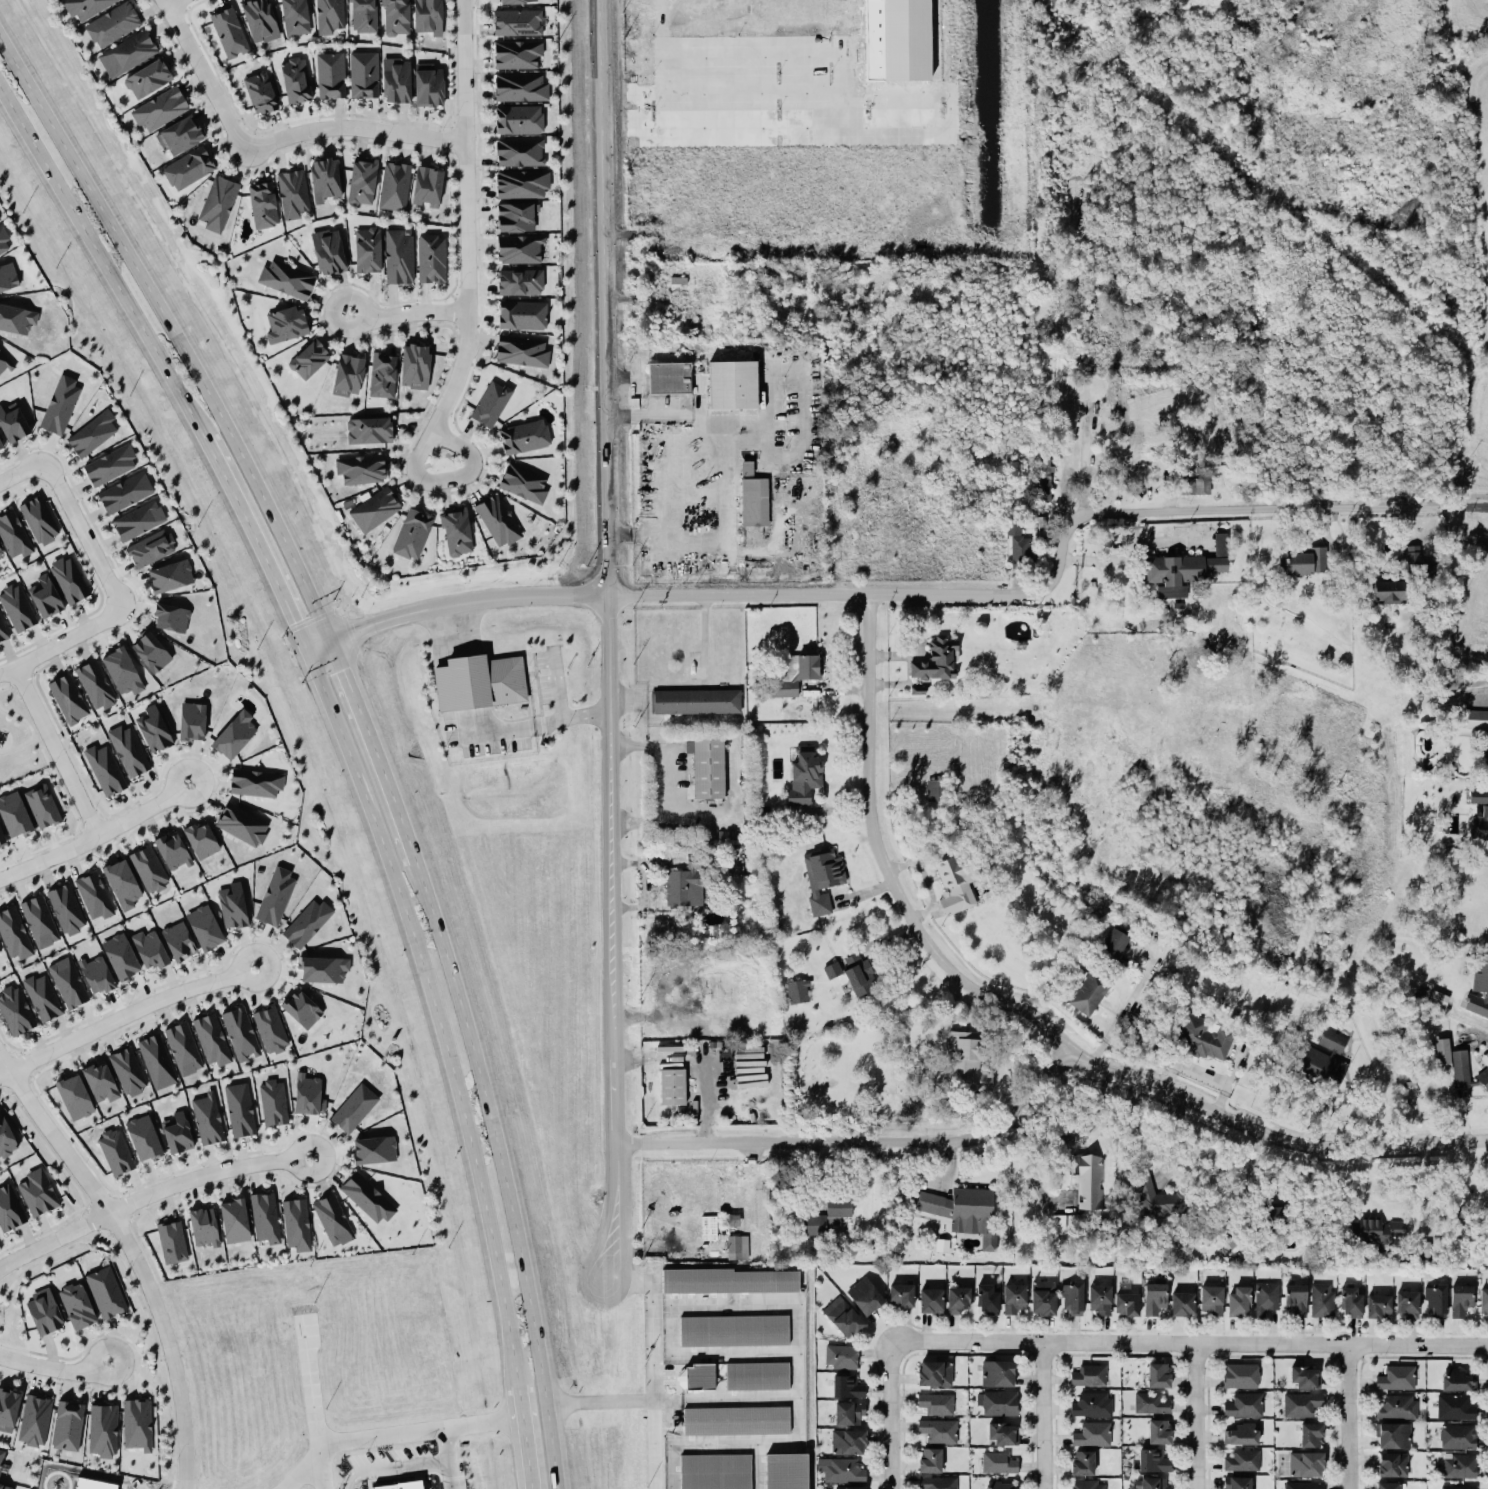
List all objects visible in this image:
building: (507, 0)
road: (172, 2)
building: (84, 7)
building: (329, 14)
building: (362, 15)
building: (295, 16)
building: (426, 16)
building: (396, 17)
building: (259, 19)
building: (516, 20)
building: (112, 23)
building: (229, 30)
building: (905, 39)
building: (126, 52)
building: (517, 53)
road: (206, 72)
building: (330, 73)
building: (363, 73)
building: (147, 77)
building: (294, 78)
building: (396, 78)
building: (428, 83)
building: (519, 85)
building: (259, 91)
building: (159, 108)
building: (518, 118)
road: (355, 124)
building: (179, 134)
building: (519, 150)
building: (187, 167)
building: (324, 178)
building: (361, 179)
building: (521, 182)
building: (394, 184)
building: (427, 184)
building: (293, 192)
building: (217, 201)
building: (262, 203)
building: (517, 215)
road: (466, 216)
building: (4, 239)
building: (520, 247)
building: (367, 248)
building: (328, 250)
building: (398, 254)
building: (431, 256)
road: (102, 264)
building: (8, 275)
building: (286, 278)
building: (519, 280)
road: (603, 297)
road: (407, 311)
building: (521, 313)
building: (16, 317)
building: (284, 322)
road: (173, 331)
building: (520, 349)
building: (309, 357)
building: (4, 361)
building: (414, 364)
building: (382, 372)
building: (347, 373)
building: (669, 376)
building: (732, 383)
building: (490, 401)
building: (60, 404)
building: (12, 421)
building: (369, 428)
building: (92, 432)
road: (715, 434)
building: (524, 435)
building: (0, 445)
road: (795, 454)
building: (110, 464)
building: (360, 467)
building: (747, 467)
road: (19, 470)
road: (1070, 476)
road: (448, 478)
building: (1044, 478)
building: (522, 481)
building: (1193, 483)
building: (125, 491)
building: (754, 500)
building: (374, 507)
building: (40, 516)
building: (497, 518)
building: (138, 519)
building: (456, 529)
building: (15, 530)
road: (84, 531)
building: (411, 532)
road: (254, 543)
building: (1018, 545)
building: (151, 547)
building: (1, 548)
building: (0, 551)
building: (1411, 553)
building: (1302, 559)
building: (1426, 567)
building: (1184, 568)
road: (1063, 570)
building: (170, 575)
building: (71, 576)
building: (1390, 588)
building: (48, 592)
road: (452, 603)
building: (20, 605)
building: (171, 616)
traffic signals: (291, 620)
building: (3, 627)
traffic signals: (358, 628)
road: (62, 642)
building: (150, 650)
building: (937, 659)
traffic signals: (344, 668)
building: (123, 669)
building: (793, 673)
building: (96, 681)
building: (479, 681)
road: (11, 682)
building: (1457, 682)
road: (1457, 688)
building: (70, 696)
building: (697, 700)
building: (1477, 718)
building: (192, 720)
road: (535, 723)
building: (154, 728)
road: (31, 730)
building: (235, 734)
road: (377, 748)
road: (58, 749)
building: (129, 749)
road: (658, 752)
building: (1486, 762)
building: (707, 766)
building: (105, 768)
building: (804, 775)
building: (255, 782)
building: (936, 789)
building: (1477, 794)
building: (43, 804)
building: (15, 814)
building: (242, 823)
building: (1479, 823)
road: (95, 833)
building: (2, 838)
building: (201, 838)
building: (172, 850)
building: (149, 867)
building: (954, 874)
building: (822, 876)
building: (122, 883)
building: (94, 894)
building: (275, 895)
building: (233, 904)
building: (66, 907)
building: (39, 920)
building: (307, 922)
building: (204, 926)
building: (14, 933)
road: (610, 937)
building: (178, 940)
building: (1113, 942)
building: (150, 948)
building: (0, 949)
building: (121, 956)
building: (323, 968)
building: (832, 969)
building: (97, 973)
building: (859, 974)
building: (68, 981)
building: (797, 990)
building: (1479, 990)
building: (1089, 991)
building: (42, 996)
building: (1438, 998)
building: (302, 1007)
building: (15, 1009)
road: (434, 1010)
road: (1035, 1011)
road: (125, 1013)
road: (1117, 1019)
building: (270, 1028)
building: (240, 1032)
building: (1203, 1036)
building: (211, 1038)
building: (183, 1047)
building: (1442, 1053)
building: (157, 1060)
building: (1321, 1060)
road: (694, 1061)
building: (966, 1061)
building: (1467, 1069)
building: (128, 1070)
building: (101, 1081)
building: (672, 1085)
building: (308, 1094)
building: (74, 1096)
building: (273, 1102)
building: (354, 1107)
building: (950, 1107)
building: (240, 1109)
building: (207, 1118)
road: (1088, 1126)
building: (177, 1132)
building: (6, 1137)
building: (144, 1137)
road: (862, 1139)
building: (374, 1148)
building: (115, 1151)
road: (1151, 1155)
road: (1031, 1166)
road: (504, 1170)
building: (1089, 1180)
building: (38, 1191)
road: (148, 1193)
building: (367, 1197)
building: (1157, 1199)
building: (9, 1208)
building: (962, 1210)
building: (1271, 1213)
building: (828, 1215)
building: (265, 1216)
building: (731, 1218)
building: (234, 1219)
building: (333, 1219)
building: (296, 1223)
building: (1059, 1223)
building: (204, 1225)
building: (1376, 1230)
building: (1229, 1233)
building: (172, 1240)
building: (737, 1246)
building: (1423, 1249)
road: (132, 1255)
building: (722, 1281)
building: (106, 1291)
building: (901, 1294)
building: (865, 1295)
building: (1043, 1296)
building: (1266, 1296)
building: (1014, 1297)
building: (1073, 1297)
building: (1154, 1297)
road: (766, 1298)
building: (957, 1298)
building: (987, 1298)
building: (1100, 1298)
building: (1296, 1298)
building: (1212, 1299)
building: (1239, 1299)
building: (1322, 1299)
building: (1461, 1299)
building: (1484, 1299)
building: (931, 1300)
building: (1351, 1300)
building: (1436, 1300)
building: (1182, 1302)
building: (1407, 1302)
building: (1126, 1303)
building: (77, 1304)
building: (1378, 1305)
building: (44, 1310)
building: (843, 1316)
building: (730, 1331)
road: (1189, 1342)
building: (841, 1355)
road: (54, 1367)
road: (650, 1369)
building: (935, 1372)
building: (997, 1372)
building: (1089, 1374)
building: (1158, 1374)
building: (1241, 1374)
building: (1304, 1375)
building: (696, 1376)
building: (754, 1376)
building: (1396, 1377)
building: (1457, 1379)
building: (847, 1386)
building: (998, 1401)
building: (936, 1402)
building: (1151, 1402)
building: (1092, 1403)
building: (1301, 1403)
building: (1244, 1404)
building: (1397, 1406)
building: (1455, 1406)
building: (8, 1408)
building: (849, 1411)
road: (891, 1414)
road: (1044, 1415)
road: (1196, 1416)
road: (1346, 1416)
building: (35, 1419)
building: (733, 1420)
building: (137, 1423)
building: (67, 1424)
building: (103, 1429)
building: (939, 1429)
building: (1159, 1430)
building: (1003, 1432)
building: (1092, 1433)
building: (1242, 1433)
building: (1311, 1434)
building: (1394, 1434)
road: (395, 1435)
building: (1457, 1435)
road: (524, 1436)
road: (735, 1440)
building: (848, 1440)
road: (652, 1443)
building: (1, 1456)
road: (448, 1458)
building: (929, 1459)
building: (1153, 1459)
building: (1243, 1459)
building: (998, 1462)
building: (1083, 1462)
building: (1306, 1463)
building: (1392, 1463)
road: (756, 1464)
building: (1459, 1464)
building: (841, 1468)
road: (322, 1471)
building: (712, 1471)
building: (781, 1471)
building: (938, 1482)
building: (1150, 1482)
building: (1237, 1482)
building: (1088, 1484)
building: (1304, 1484)
building: (1002, 1485)
building: (1388, 1485)
building: (5, 1486)
building: (1458, 1486)
building: (849, 1487)

